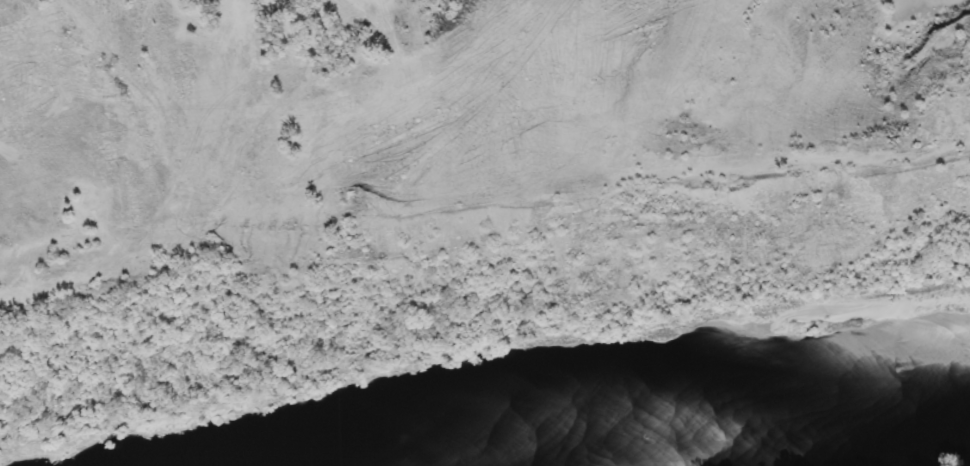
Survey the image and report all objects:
river: (832, 448)
river: (345, 463)

